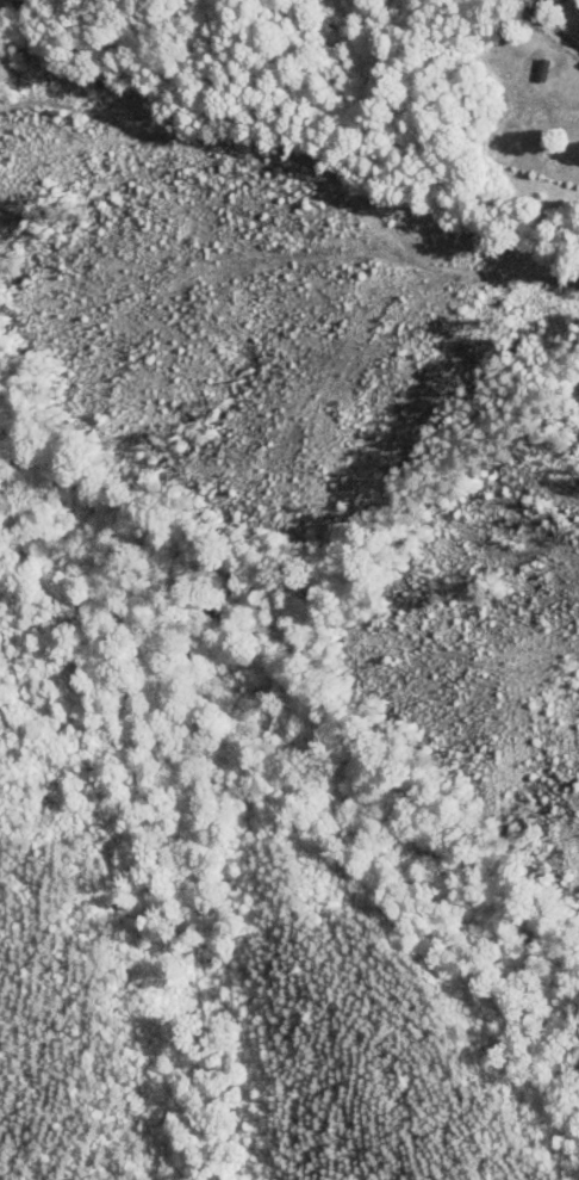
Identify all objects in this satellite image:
road: (555, 26)

